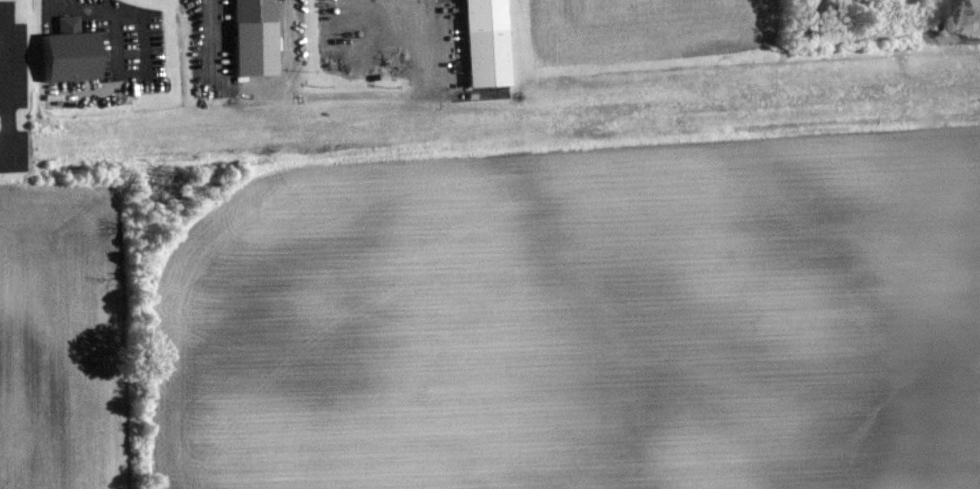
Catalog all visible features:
road: (125, 12)
road: (426, 26)
building: (251, 38)
building: (491, 43)
building: (74, 53)
road: (9, 82)
road: (6, 150)

